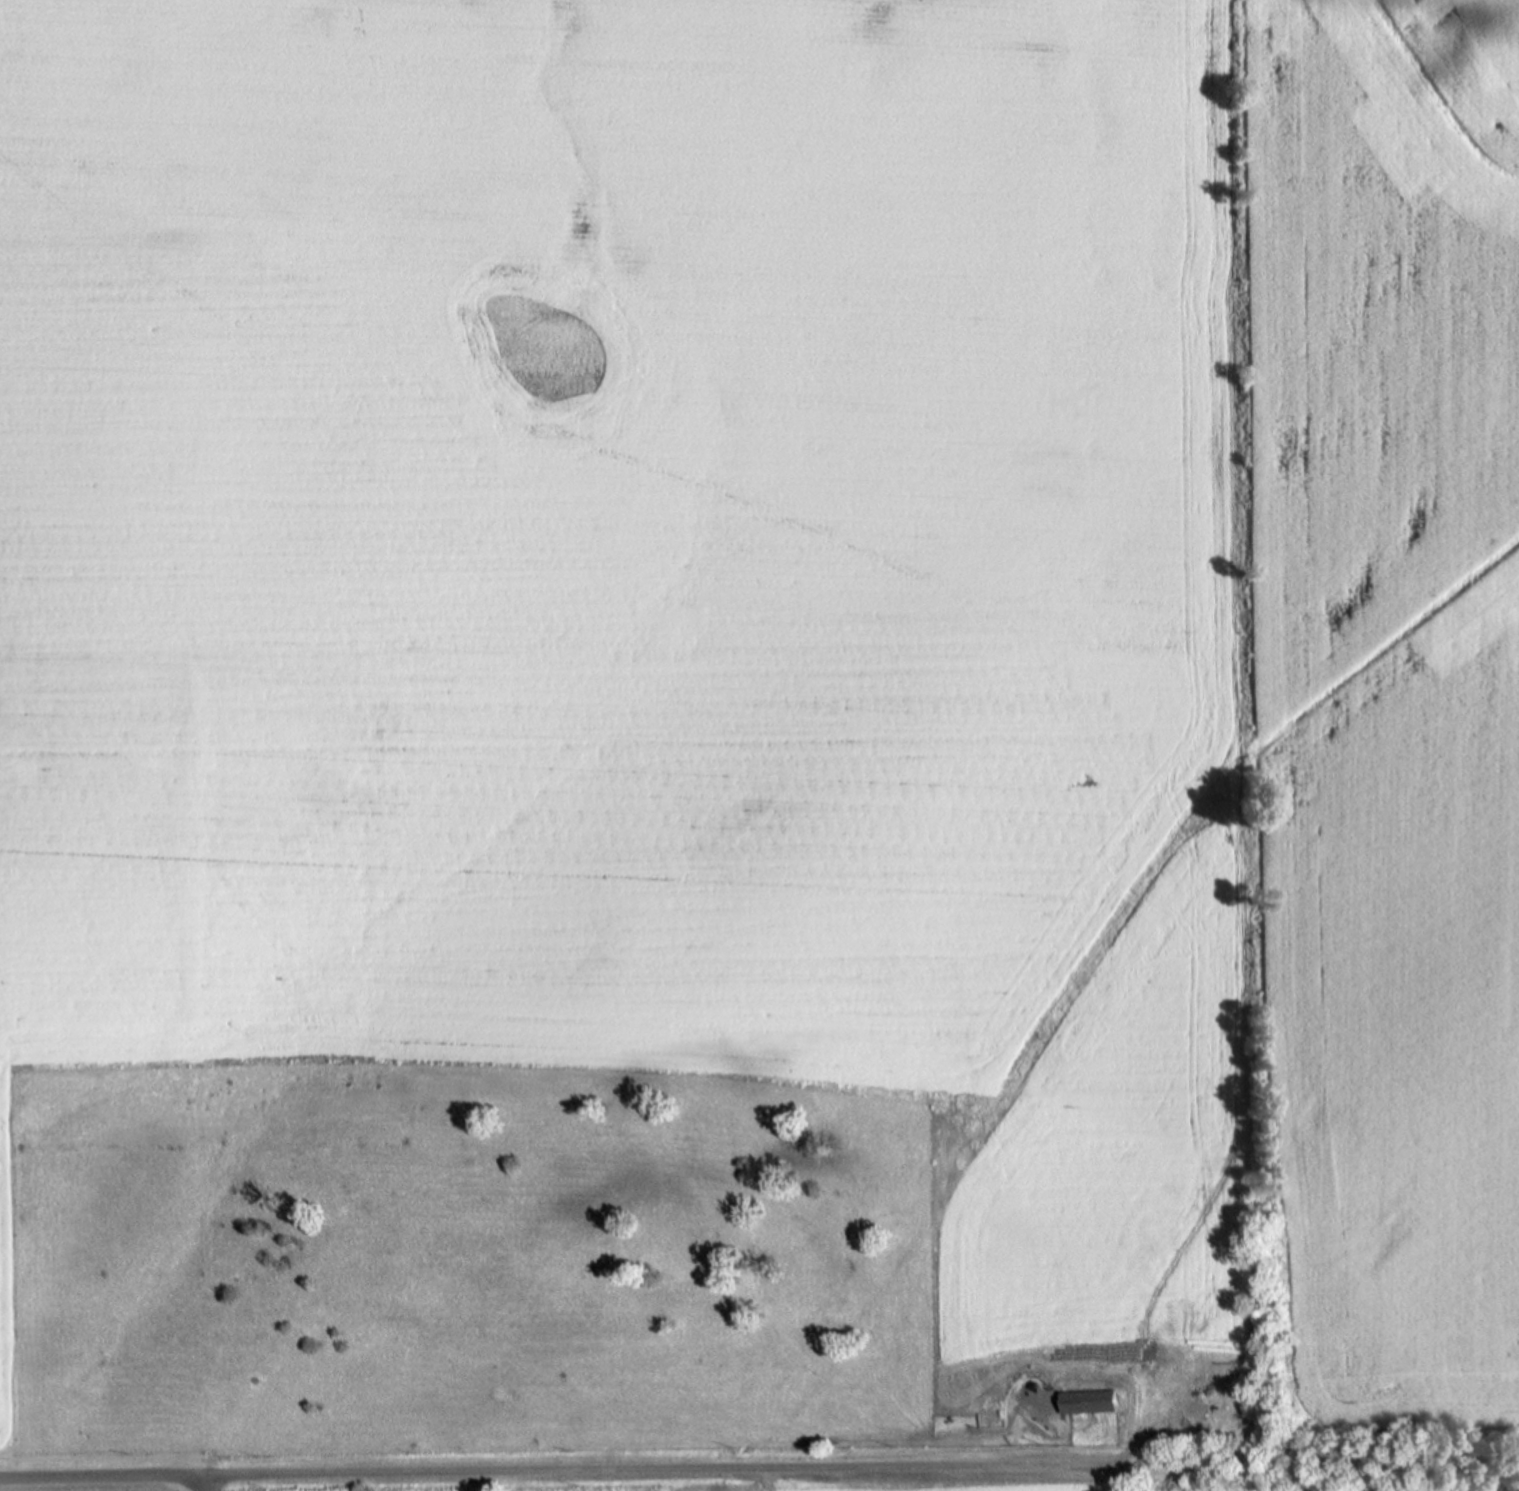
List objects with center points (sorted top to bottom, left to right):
building: (1088, 1402)
road: (659, 1468)
road: (99, 1482)
road: (200, 1486)

